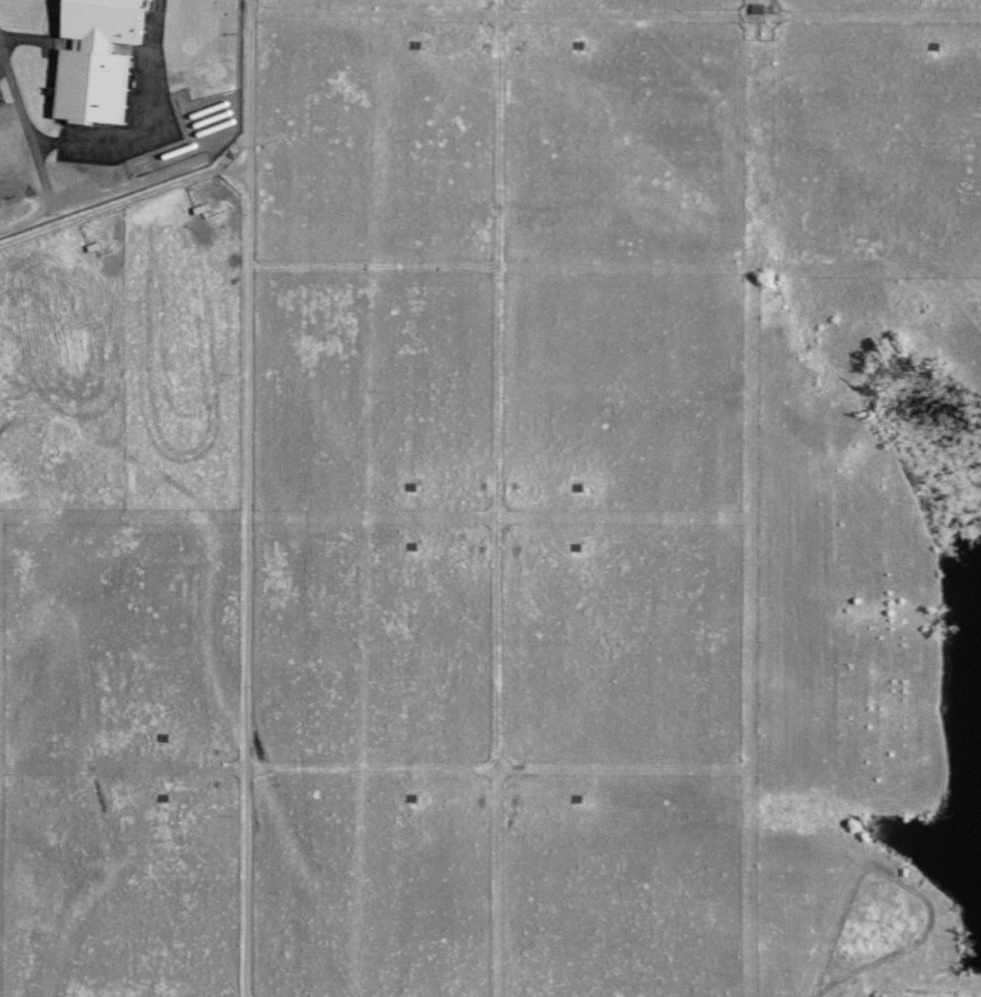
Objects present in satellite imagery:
building: (761, 10)
building: (111, 21)
road: (38, 144)

